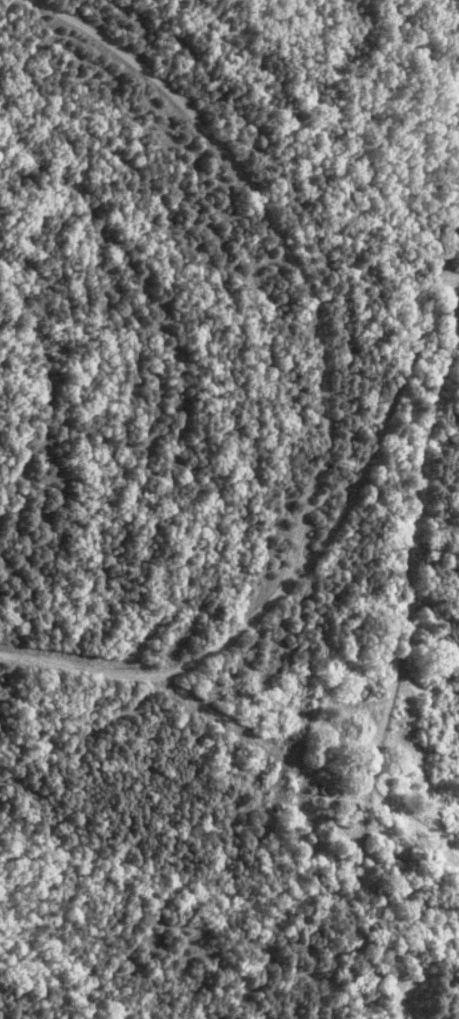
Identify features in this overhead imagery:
road: (415, 131)
road: (280, 241)
road: (454, 269)
road: (414, 557)
road: (304, 565)

